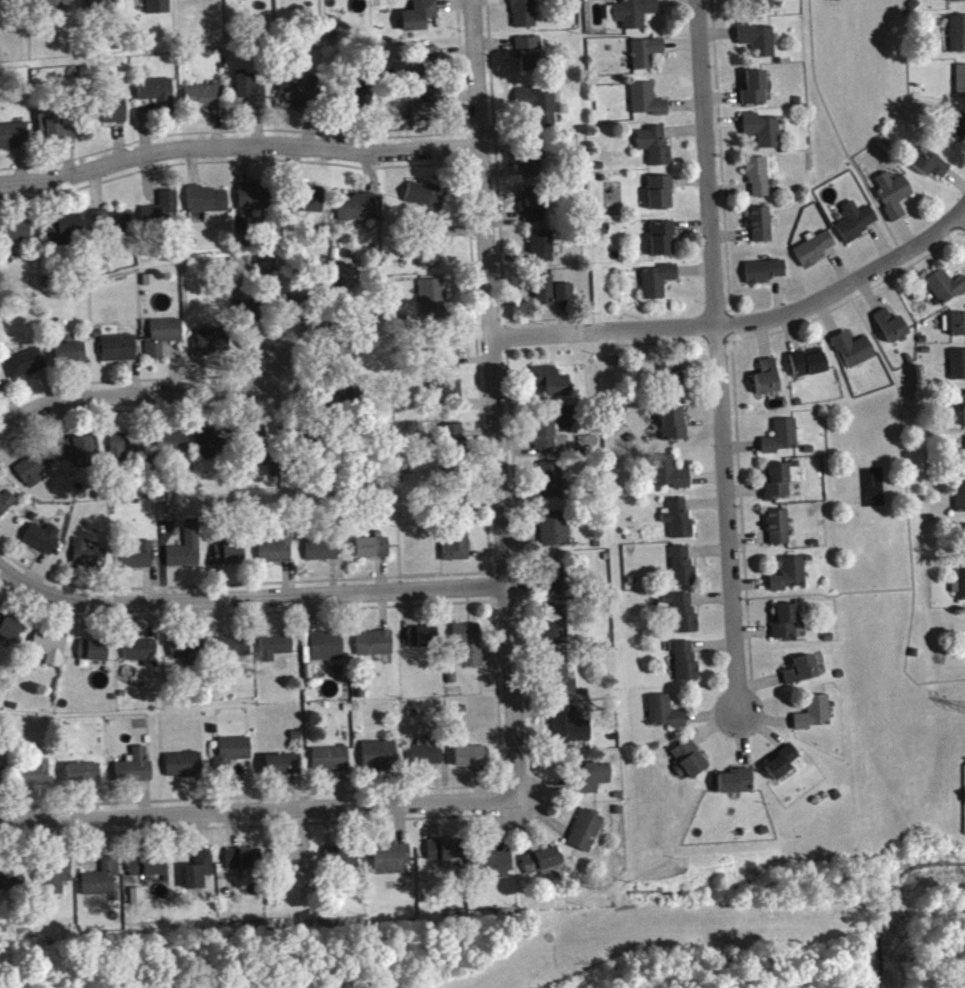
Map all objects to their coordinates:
building: (292, 0)
building: (198, 1)
building: (252, 1)
building: (11, 2)
building: (956, 3)
building: (102, 6)
building: (766, 6)
building: (52, 8)
building: (158, 9)
building: (524, 16)
building: (634, 17)
building: (419, 21)
building: (958, 39)
building: (758, 45)
building: (529, 58)
building: (646, 58)
building: (428, 64)
building: (960, 86)
building: (755, 94)
building: (250, 95)
building: (157, 98)
building: (299, 100)
building: (359, 101)
building: (203, 103)
building: (647, 106)
building: (426, 110)
building: (541, 111)
building: (108, 116)
building: (956, 131)
building: (56, 132)
building: (763, 136)
building: (14, 141)
road: (238, 148)
building: (655, 150)
building: (532, 164)
building: (931, 169)
building: (757, 183)
building: (660, 198)
building: (893, 199)
building: (253, 202)
building: (426, 202)
building: (313, 204)
building: (208, 205)
road: (963, 209)
building: (534, 210)
building: (163, 213)
building: (357, 213)
road: (963, 214)
building: (857, 227)
building: (111, 229)
building: (760, 230)
building: (64, 234)
building: (14, 238)
building: (663, 244)
building: (542, 252)
building: (815, 253)
building: (430, 255)
building: (764, 277)
road: (843, 284)
building: (658, 287)
building: (946, 292)
building: (544, 295)
building: (564, 297)
building: (433, 302)
building: (295, 312)
building: (955, 330)
road: (603, 331)
building: (891, 332)
building: (163, 342)
building: (212, 347)
building: (119, 354)
road: (714, 355)
building: (853, 355)
building: (70, 358)
building: (450, 361)
building: (25, 369)
building: (808, 369)
building: (958, 370)
building: (767, 383)
building: (551, 386)
building: (675, 387)
road: (139, 396)
building: (453, 401)
road: (497, 401)
building: (964, 413)
building: (674, 429)
building: (545, 437)
building: (453, 442)
building: (783, 442)
building: (171, 447)
building: (209, 448)
building: (260, 449)
building: (125, 451)
building: (78, 457)
building: (963, 461)
building: (35, 474)
building: (670, 478)
building: (552, 485)
building: (777, 488)
building: (960, 503)
road: (905, 505)
building: (6, 507)
building: (169, 517)
building: (678, 523)
building: (778, 533)
building: (555, 534)
building: (42, 541)
building: (457, 549)
building: (186, 553)
building: (372, 553)
building: (276, 556)
building: (322, 556)
building: (88, 560)
building: (229, 560)
building: (138, 562)
building: (682, 571)
building: (790, 580)
building: (554, 585)
building: (962, 591)
road: (820, 593)
road: (248, 599)
building: (685, 619)
building: (785, 627)
building: (557, 631)
building: (9, 633)
building: (423, 643)
building: (375, 649)
building: (469, 649)
building: (233, 652)
building: (275, 652)
building: (327, 652)
building: (50, 654)
building: (93, 656)
building: (187, 656)
building: (143, 658)
building: (685, 667)
building: (801, 676)
building: (563, 684)
building: (665, 718)
building: (814, 719)
building: (570, 732)
building: (234, 756)
building: (427, 758)
building: (380, 761)
building: (471, 762)
building: (331, 765)
building: (690, 765)
building: (782, 767)
building: (283, 770)
building: (184, 771)
building: (135, 772)
building: (33, 779)
building: (84, 779)
building: (1, 780)
building: (591, 783)
building: (736, 788)
road: (259, 813)
building: (585, 837)
building: (444, 855)
building: (392, 864)
building: (240, 865)
building: (297, 865)
building: (342, 865)
building: (542, 867)
building: (497, 871)
building: (154, 873)
building: (198, 880)
building: (12, 882)
building: (57, 882)
building: (102, 885)
building: (229, 890)
park: (540, 948)

